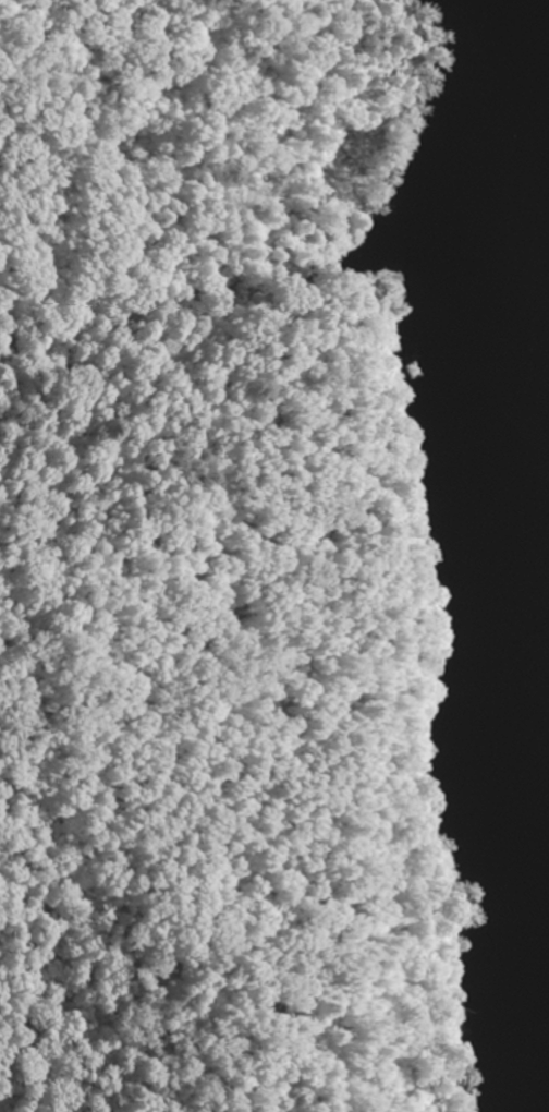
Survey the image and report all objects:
park: (211, 571)

